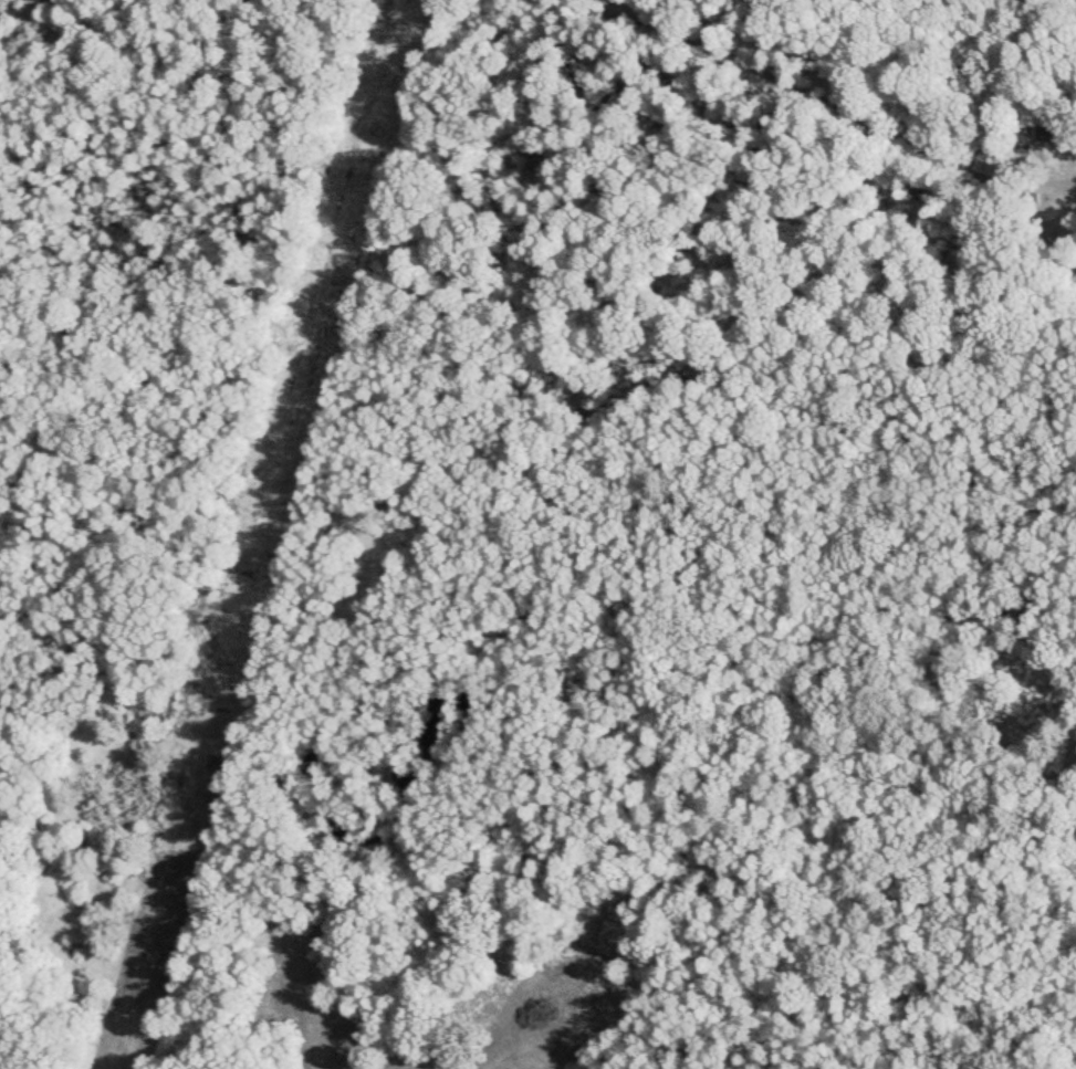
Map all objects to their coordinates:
road: (848, 151)
road: (1047, 962)

